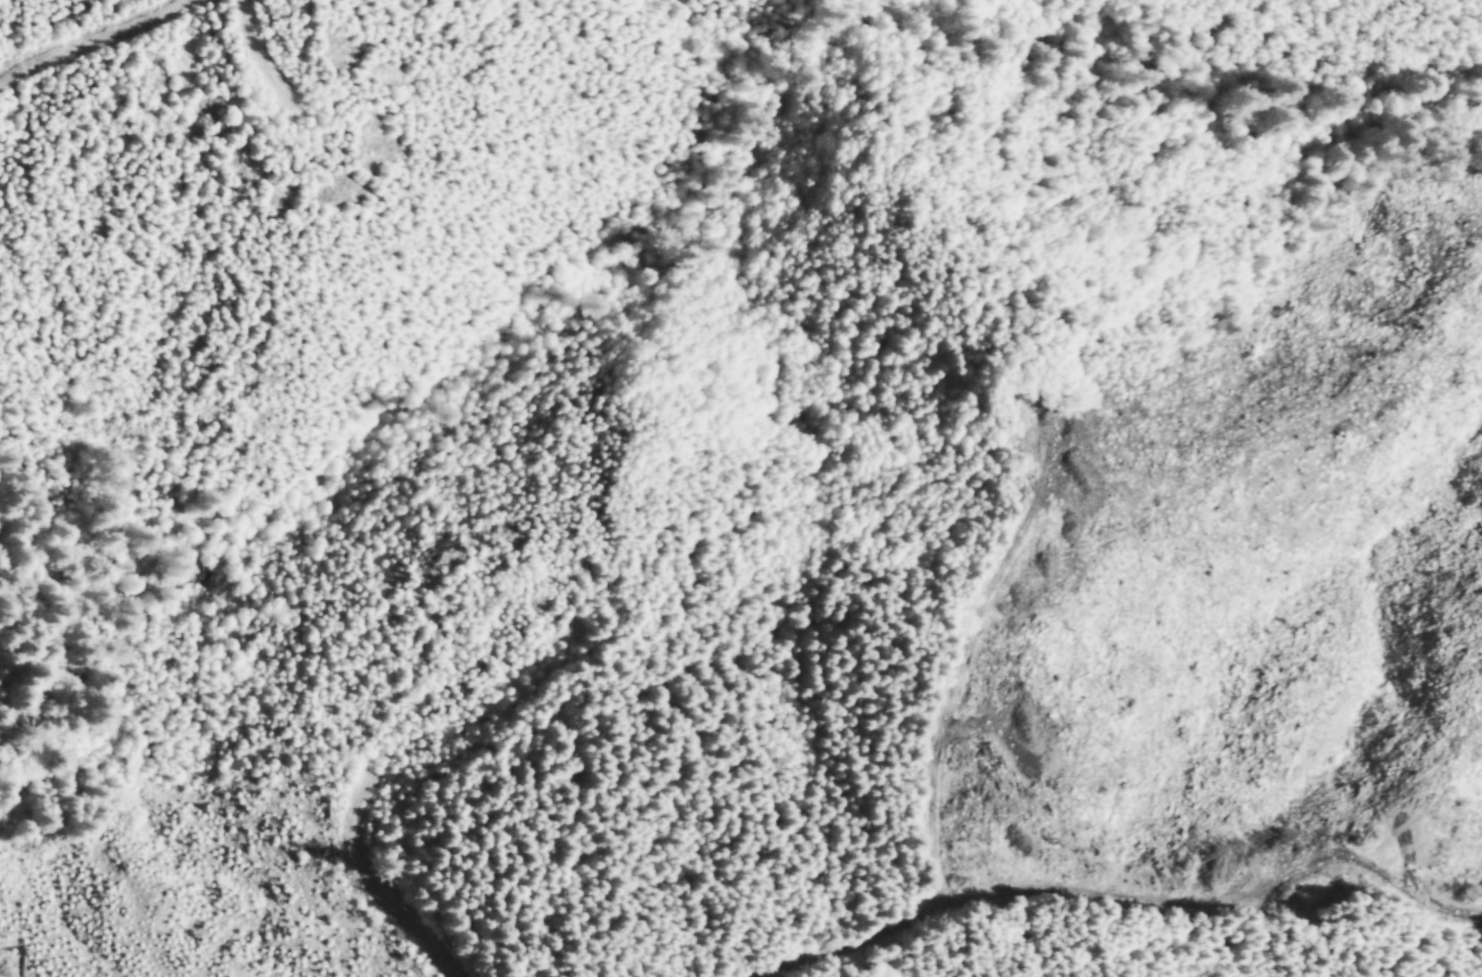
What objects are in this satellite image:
road: (89, 41)
road: (958, 719)
road: (1078, 897)
road: (408, 936)
road: (877, 960)

